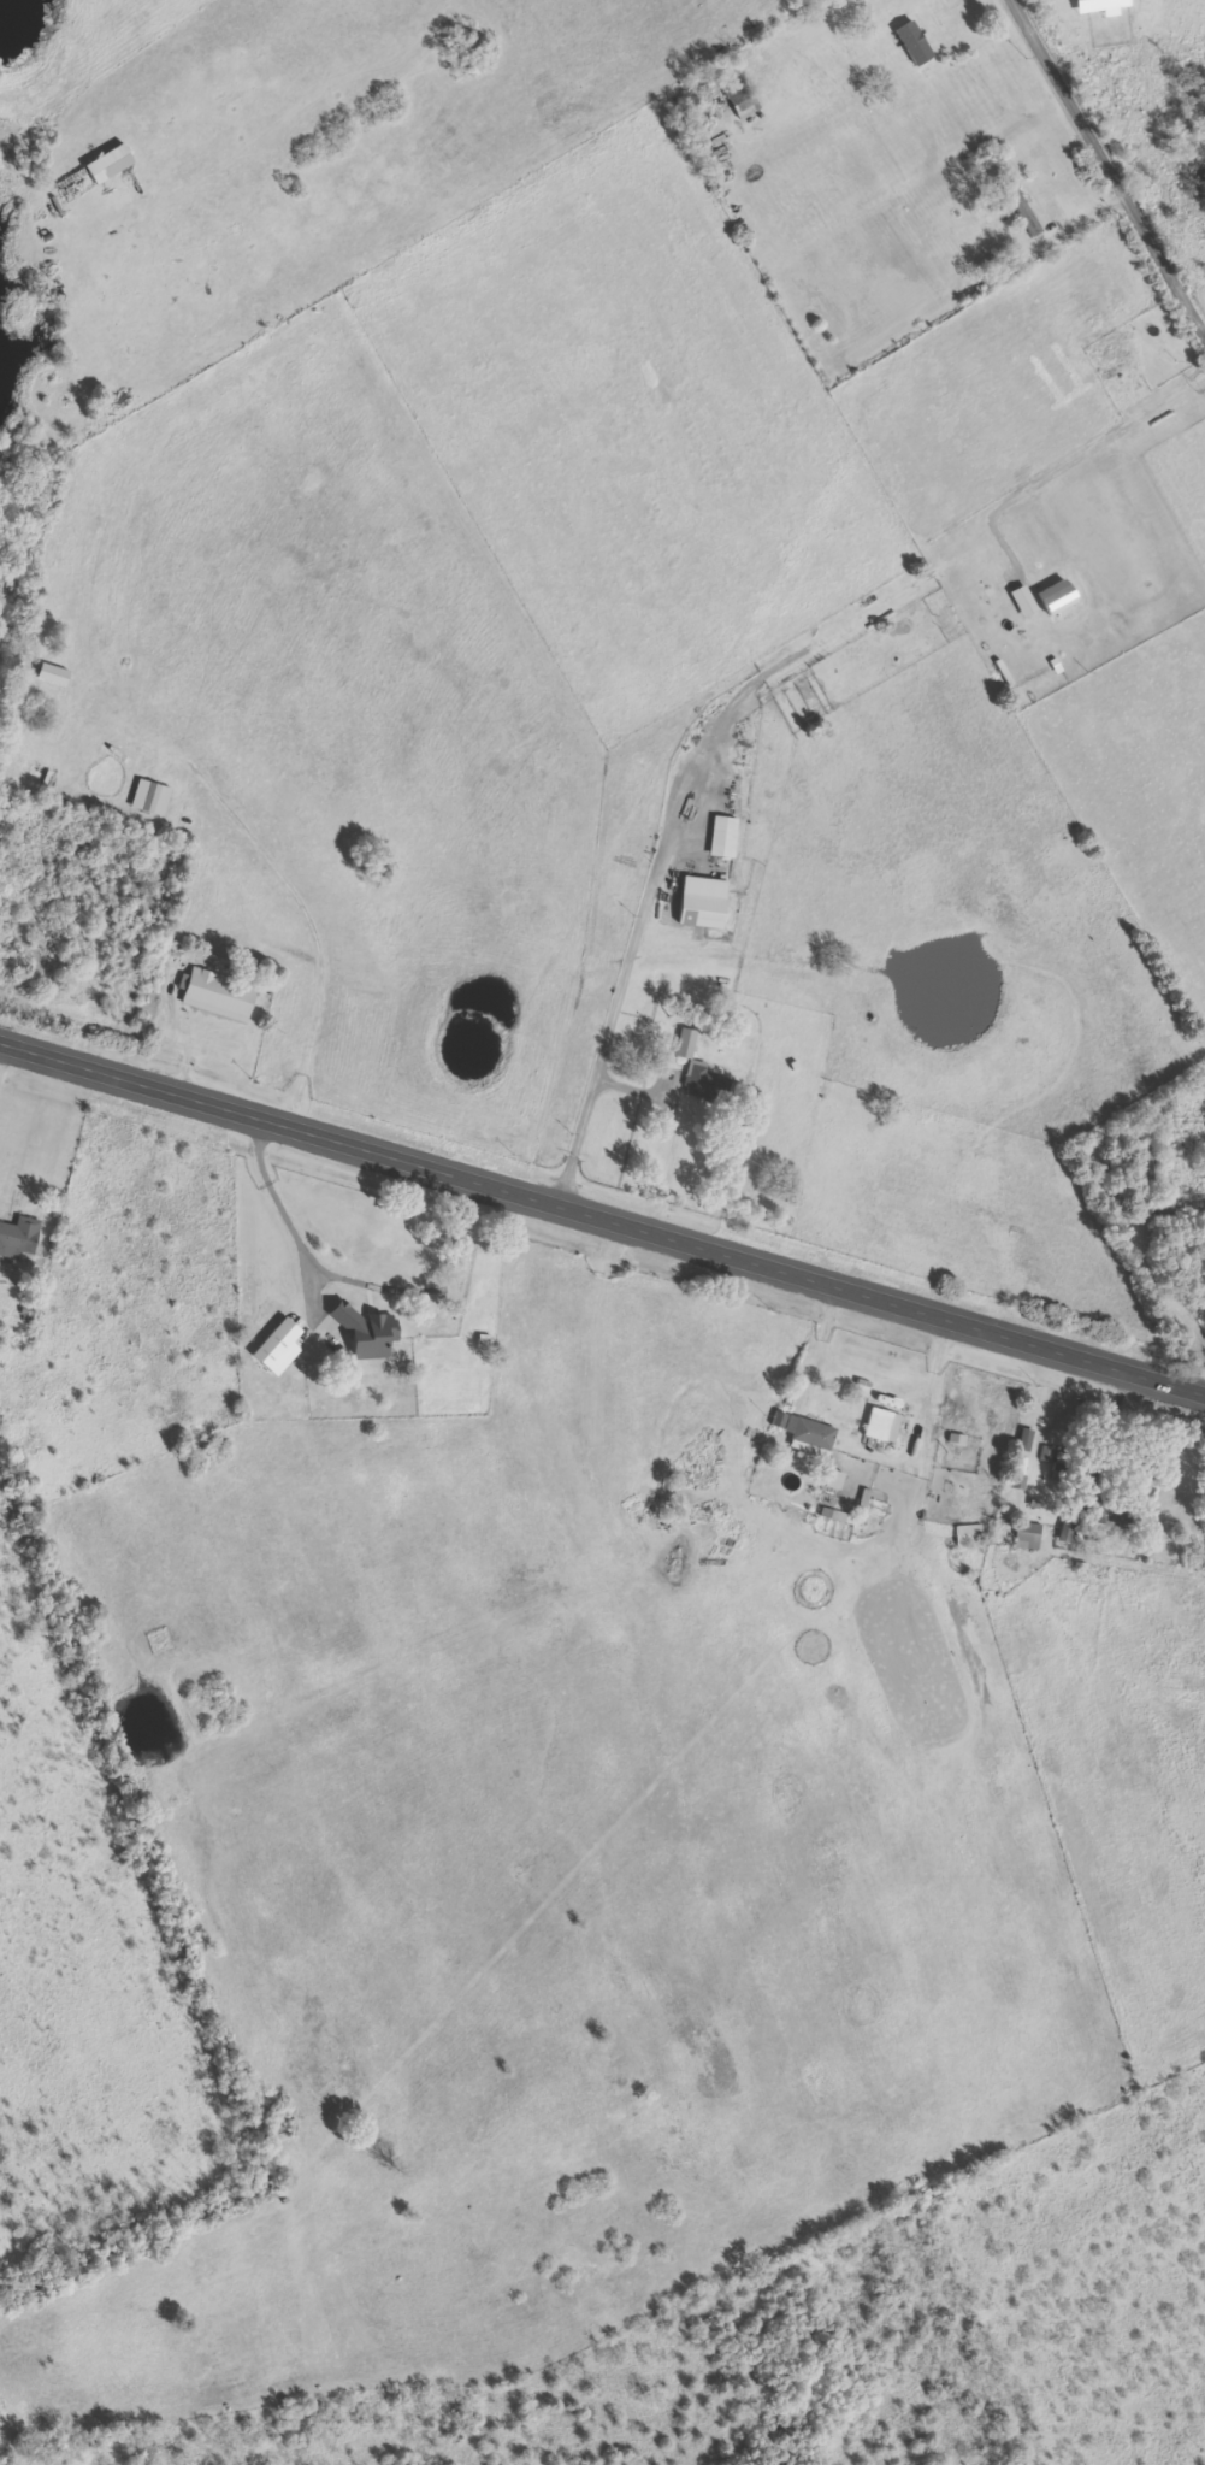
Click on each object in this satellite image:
building: (915, 43)
building: (743, 100)
building: (111, 164)
road: (1106, 166)
building: (1023, 211)
building: (1129, 361)
building: (1057, 598)
building: (1024, 601)
building: (54, 676)
building: (152, 797)
building: (725, 836)
building: (705, 901)
building: (220, 995)
building: (687, 1043)
building: (708, 1084)
road: (788, 1160)
building: (1147, 1172)
road: (602, 1209)
building: (19, 1237)
building: (368, 1332)
building: (280, 1348)
building: (781, 1420)
building: (882, 1425)
building: (810, 1435)
building: (1028, 1440)
building: (1050, 1453)
building: (20, 1470)
building: (837, 1480)
building: (1067, 1531)
building: (968, 1535)
building: (1027, 1535)

